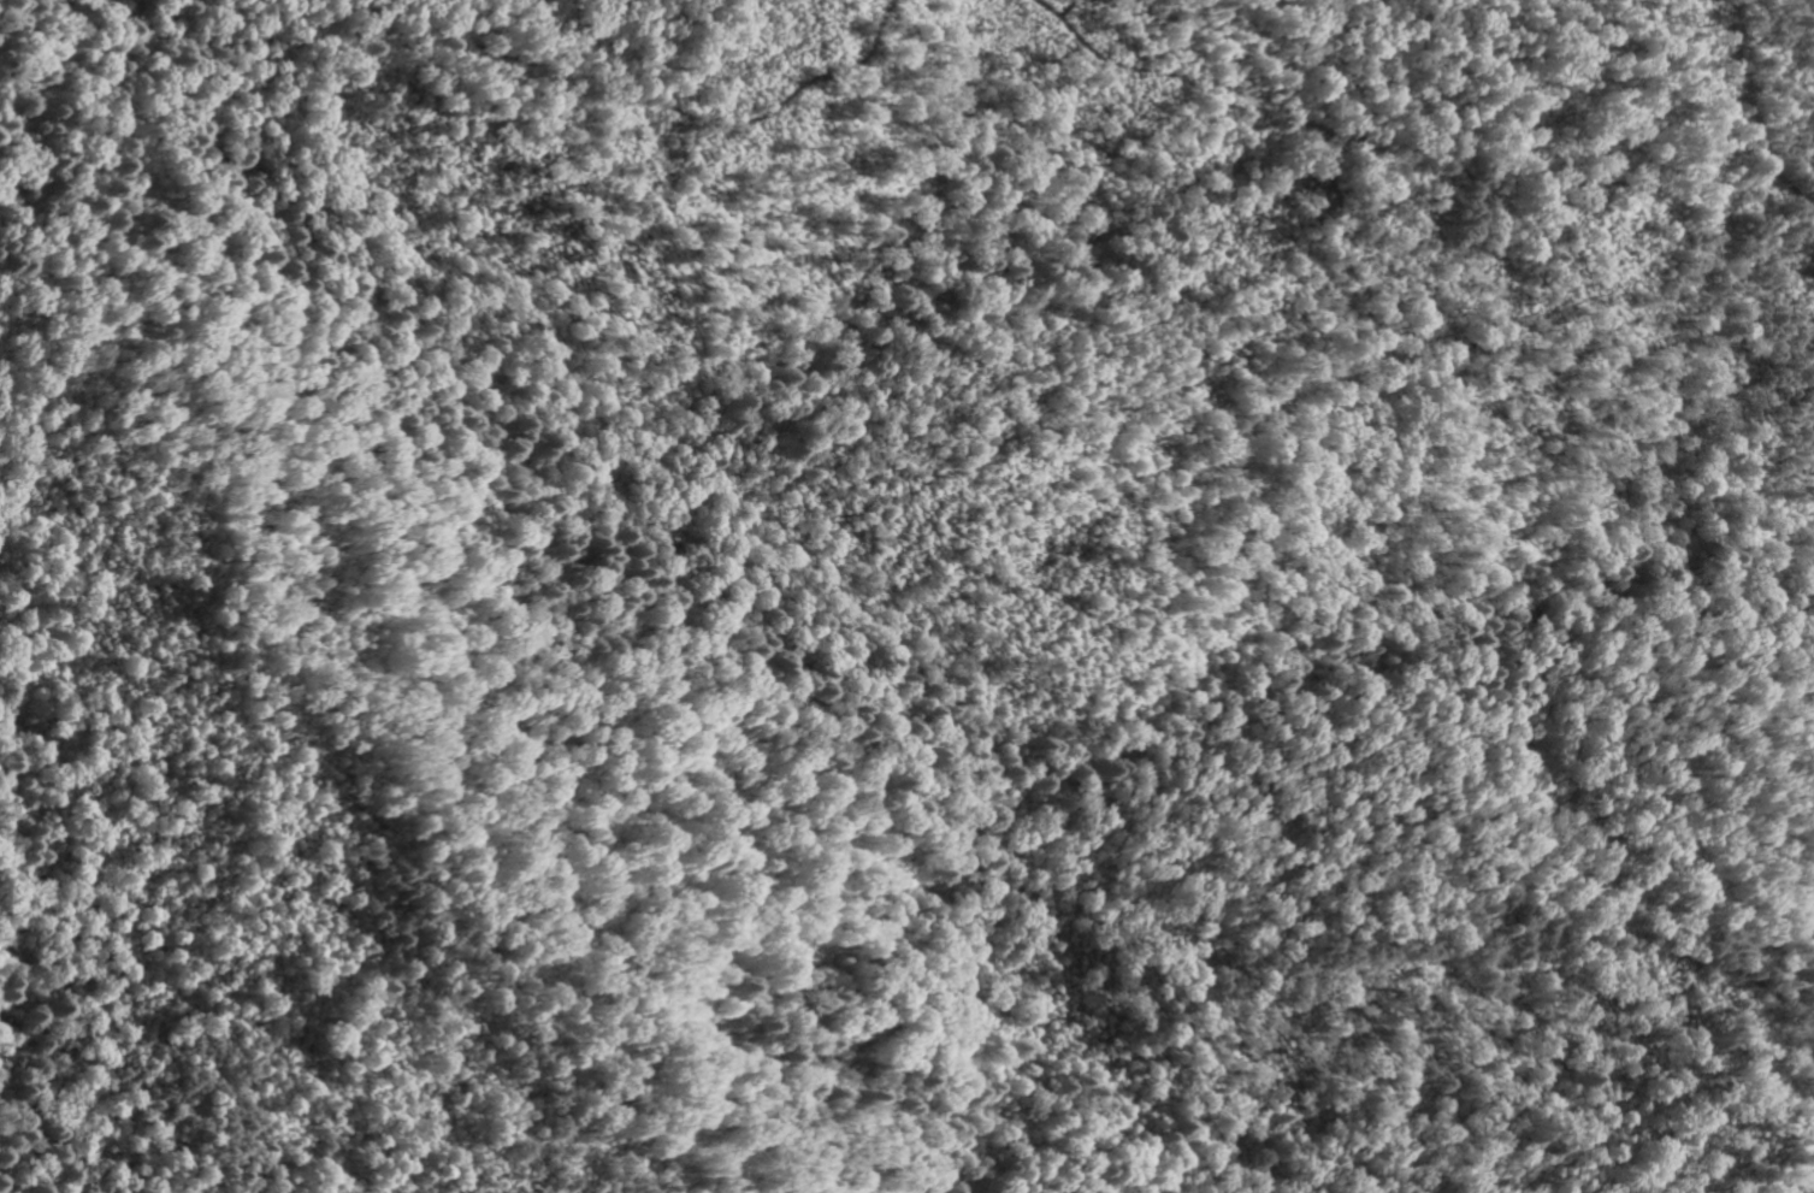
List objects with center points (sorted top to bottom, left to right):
road: (1742, 114)

